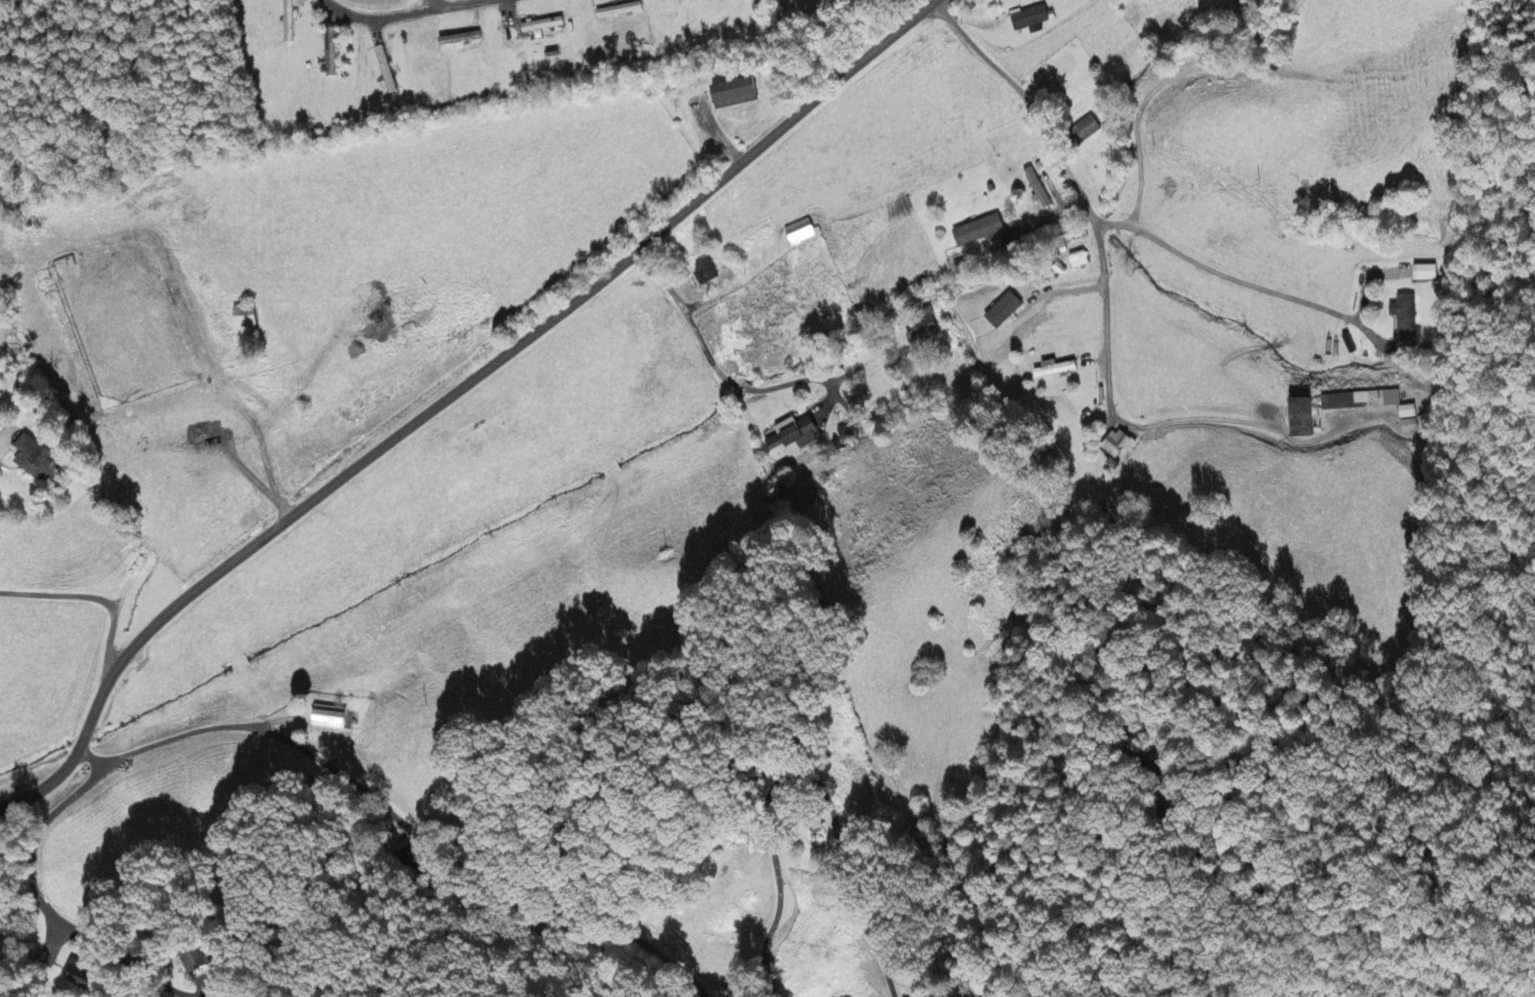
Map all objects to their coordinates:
road: (457, 7)
road: (373, 18)
building: (1031, 21)
building: (290, 22)
building: (545, 27)
building: (332, 54)
building: (738, 94)
building: (1092, 128)
road: (1073, 179)
building: (1037, 189)
building: (980, 232)
building: (1427, 275)
building: (1406, 318)
building: (247, 319)
building: (923, 331)
road: (710, 360)
building: (1057, 371)
road: (449, 395)
building: (1363, 402)
building: (1307, 420)
building: (1410, 420)
building: (847, 434)
building: (793, 439)
building: (1117, 445)
building: (40, 461)
road: (91, 596)
building: (332, 720)
road: (89, 757)
road: (803, 774)
road: (408, 830)
road: (46, 908)
road: (1076, 921)
building: (195, 961)
building: (80, 977)

